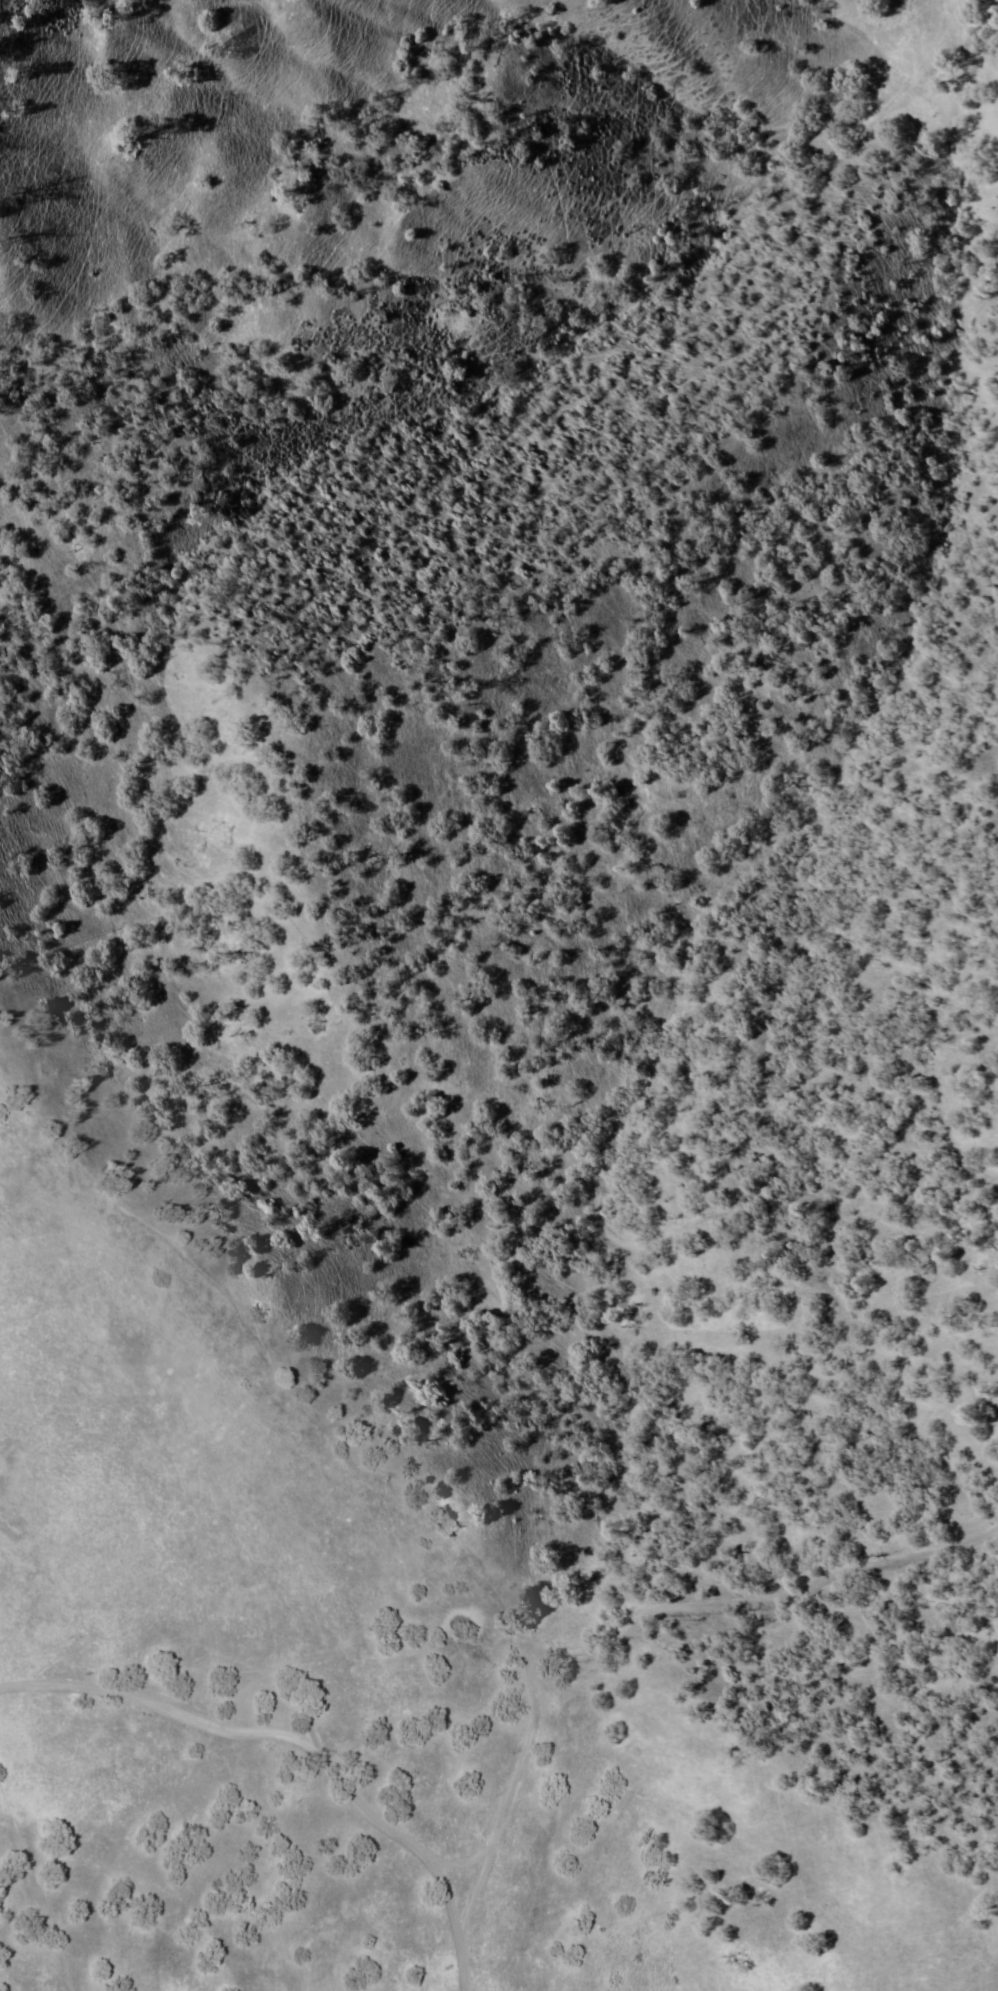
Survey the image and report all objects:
road: (444, 1452)
road: (283, 1729)

